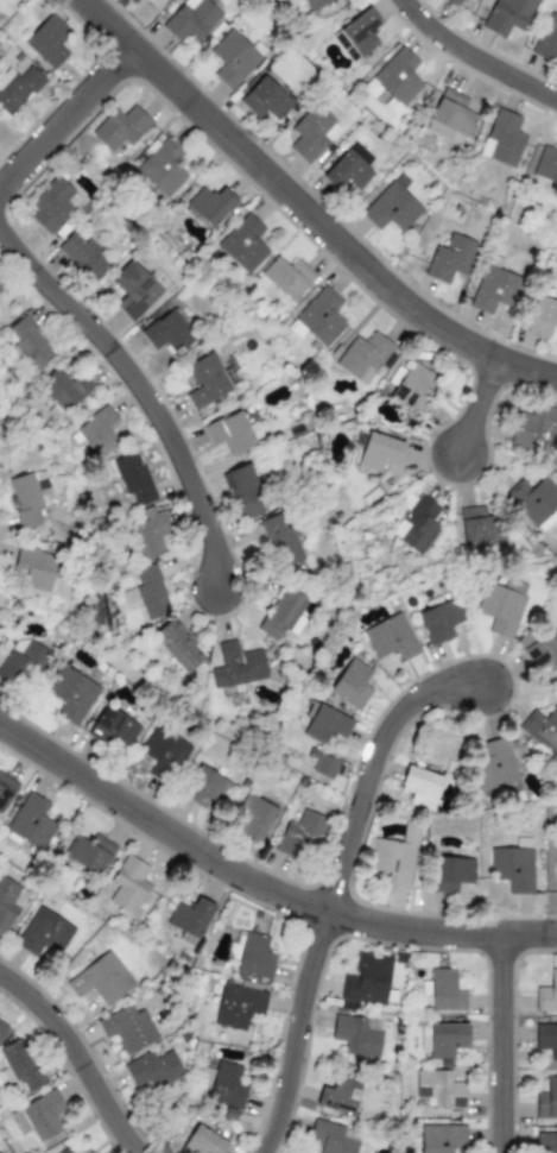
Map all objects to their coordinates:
building: (131, 1)
building: (451, 2)
building: (315, 4)
building: (506, 15)
building: (191, 19)
building: (357, 36)
building: (48, 40)
building: (546, 40)
road: (479, 51)
building: (233, 59)
building: (395, 77)
building: (18, 88)
building: (265, 99)
road: (68, 113)
building: (450, 118)
building: (120, 127)
building: (312, 133)
building: (504, 138)
building: (546, 165)
building: (163, 168)
building: (348, 174)
building: (51, 204)
building: (210, 204)
road: (308, 207)
building: (391, 208)
building: (243, 244)
building: (83, 256)
building: (449, 258)
building: (287, 277)
building: (2, 285)
building: (133, 290)
building: (494, 290)
building: (542, 316)
building: (318, 319)
building: (167, 332)
building: (30, 344)
building: (362, 357)
building: (205, 380)
road: (144, 386)
building: (412, 388)
building: (63, 389)
road: (483, 402)
building: (534, 427)
building: (99, 433)
building: (232, 433)
building: (379, 452)
building: (133, 478)
building: (243, 492)
building: (533, 499)
building: (25, 502)
building: (417, 524)
building: (481, 527)
building: (148, 533)
building: (280, 540)
building: (33, 569)
building: (151, 592)
building: (501, 606)
building: (283, 612)
building: (439, 620)
building: (391, 638)
building: (178, 645)
building: (543, 653)
building: (21, 663)
building: (238, 667)
building: (352, 685)
building: (72, 694)
building: (327, 725)
building: (113, 729)
building: (542, 730)
building: (164, 754)
building: (494, 763)
building: (324, 765)
building: (205, 787)
building: (420, 787)
building: (6, 790)
building: (253, 818)
building: (31, 821)
building: (303, 833)
building: (88, 856)
building: (512, 868)
building: (556, 869)
building: (449, 874)
road: (330, 881)
building: (127, 886)
road: (258, 886)
building: (10, 902)
building: (189, 920)
building: (44, 933)
building: (254, 957)
building: (101, 979)
building: (367, 979)
building: (445, 990)
building: (546, 994)
building: (236, 1004)
building: (2, 1026)
building: (127, 1028)
building: (355, 1035)
building: (546, 1039)
building: (445, 1040)
road: (500, 1042)
road: (70, 1059)
building: (19, 1066)
building: (152, 1070)
building: (219, 1082)
building: (441, 1088)
building: (338, 1096)
building: (546, 1100)
building: (43, 1115)
building: (442, 1138)
building: (331, 1139)
building: (204, 1141)
building: (546, 1142)
building: (64, 1151)
building: (88, 1152)

